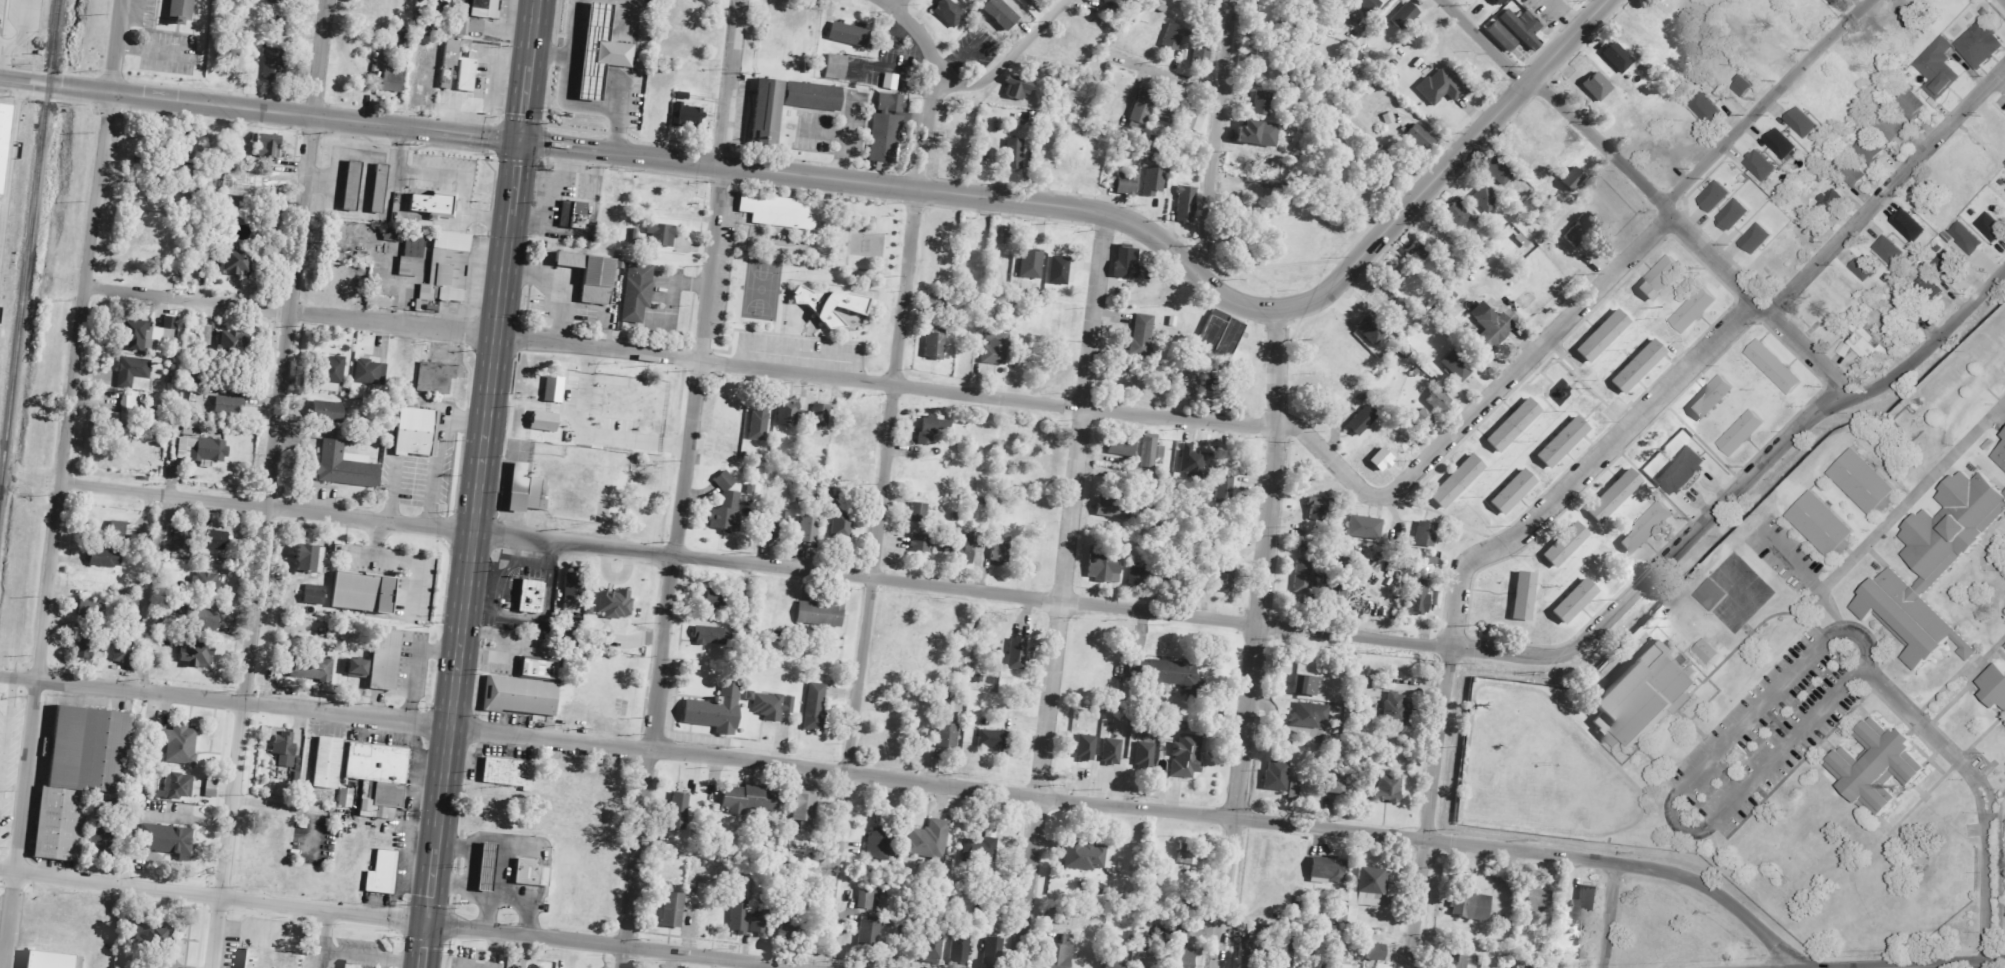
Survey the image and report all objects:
building: (1035, 0)
building: (445, 1)
building: (1501, 1)
building: (280, 2)
building: (1834, 2)
road: (898, 4)
building: (1113, 5)
building: (1370, 5)
building: (487, 8)
building: (181, 10)
building: (950, 14)
building: (1406, 16)
building: (461, 19)
building: (1523, 28)
road: (915, 31)
building: (849, 35)
building: (1173, 36)
building: (1503, 37)
building: (1982, 45)
building: (602, 52)
building: (1618, 57)
road: (1008, 58)
building: (449, 61)
building: (273, 64)
building: (836, 67)
building: (1939, 69)
road: (527, 70)
road: (1165, 75)
building: (393, 79)
building: (487, 79)
building: (890, 81)
road: (730, 83)
building: (1744, 86)
building: (1018, 87)
building: (1439, 88)
building: (809, 96)
building: (1262, 103)
building: (1912, 104)
building: (1143, 106)
building: (1707, 108)
road: (259, 110)
building: (760, 111)
building: (1167, 111)
building: (687, 113)
building: (1389, 118)
building: (1803, 122)
building: (1890, 125)
building: (3, 129)
building: (886, 129)
building: (1260, 134)
building: (1422, 138)
road: (1215, 140)
traffic signals: (519, 141)
building: (1782, 143)
building: (268, 146)
building: (1872, 150)
road: (620, 154)
building: (1015, 154)
building: (1762, 165)
building: (1501, 171)
building: (1853, 173)
road: (10, 176)
building: (1573, 178)
building: (1154, 181)
building: (1127, 184)
building: (352, 185)
building: (380, 188)
road: (1653, 194)
building: (1717, 195)
building: (1485, 198)
building: (434, 204)
building: (1186, 204)
building: (186, 205)
building: (777, 210)
building: (573, 214)
building: (1736, 214)
building: (1458, 215)
building: (1910, 226)
building: (1992, 227)
building: (1582, 230)
building: (394, 234)
building: (661, 235)
railway: (28, 236)
building: (1967, 237)
building: (1759, 238)
road: (1638, 248)
building: (1890, 249)
building: (1418, 253)
road: (1691, 253)
building: (413, 257)
building: (236, 261)
building: (1127, 263)
building: (1031, 265)
road: (1275, 267)
building: (1866, 267)
building: (448, 269)
building: (1059, 271)
building: (593, 276)
building: (1662, 278)
park: (761, 289)
building: (1930, 289)
building: (637, 292)
road: (1215, 293)
building: (379, 302)
building: (823, 303)
building: (933, 303)
building: (1909, 306)
building: (1696, 309)
road: (1738, 315)
building: (1489, 327)
building: (1372, 329)
building: (149, 336)
building: (1142, 336)
building: (1604, 336)
building: (1219, 340)
building: (232, 342)
building: (935, 345)
building: (1869, 346)
road: (1707, 348)
building: (995, 349)
building: (1845, 349)
building: (1457, 366)
building: (1639, 366)
road: (754, 367)
building: (1777, 367)
building: (370, 373)
building: (134, 374)
building: (333, 374)
building: (435, 378)
building: (1188, 385)
building: (1211, 387)
building: (553, 389)
building: (1714, 398)
building: (1439, 401)
building: (229, 406)
building: (124, 411)
building: (329, 412)
building: (791, 412)
building: (820, 416)
building: (1423, 419)
building: (150, 420)
building: (1363, 420)
building: (544, 422)
building: (759, 425)
building: (1514, 425)
building: (729, 426)
building: (191, 428)
building: (933, 428)
building: (417, 432)
building: (1744, 433)
building: (2004, 434)
road: (1775, 435)
road: (1701, 440)
building: (1563, 442)
building: (1122, 448)
building: (202, 450)
building: (1151, 451)
building: (1999, 455)
building: (1383, 460)
building: (1192, 462)
building: (346, 466)
building: (1684, 471)
building: (1458, 482)
building: (1866, 482)
road: (58, 483)
road: (268, 483)
road: (1655, 486)
building: (526, 490)
building: (1226, 490)
building: (1514, 492)
road: (1912, 495)
building: (1615, 496)
building: (1113, 507)
building: (727, 508)
building: (919, 509)
building: (1318, 509)
road: (1444, 517)
road: (878, 518)
building: (778, 525)
building: (841, 525)
building: (1824, 525)
building: (1366, 528)
building: (1648, 528)
building: (118, 529)
building: (809, 530)
building: (1427, 534)
building: (182, 538)
building: (213, 540)
building: (921, 543)
building: (1566, 545)
building: (1001, 547)
building: (966, 549)
road: (469, 554)
building: (105, 558)
building: (311, 559)
building: (1930, 565)
building: (1103, 566)
road: (671, 567)
road: (1809, 576)
building: (1138, 577)
building: (1223, 577)
building: (1302, 577)
building: (206, 583)
building: (573, 591)
road: (1062, 592)
building: (364, 593)
building: (1713, 594)
building: (314, 595)
building: (531, 595)
building: (1525, 596)
building: (1417, 599)
building: (712, 600)
building: (1576, 601)
building: (133, 604)
building: (616, 604)
building: (92, 606)
road: (1106, 606)
building: (820, 614)
building: (205, 618)
building: (742, 628)
building: (1686, 628)
building: (712, 636)
road: (1256, 639)
building: (602, 640)
building: (84, 647)
building: (122, 650)
building: (1709, 651)
road: (1990, 651)
building: (1017, 654)
building: (195, 655)
building: (386, 660)
road: (1975, 666)
building: (312, 668)
building: (358, 668)
building: (1177, 674)
building: (1996, 685)
building: (1306, 686)
building: (518, 695)
building: (1645, 697)
building: (771, 706)
building: (815, 708)
building: (1396, 708)
building: (714, 710)
building: (1309, 716)
road: (1919, 721)
parking lot: (1766, 733)
building: (948, 737)
building: (995, 740)
building: (178, 744)
road: (1466, 744)
building: (286, 748)
building: (1086, 749)
building: (1112, 752)
building: (1145, 755)
building: (1186, 757)
building: (328, 763)
building: (1882, 766)
building: (77, 773)
building: (508, 773)
building: (1277, 776)
building: (379, 777)
road: (917, 781)
building: (177, 787)
building: (1334, 788)
building: (1388, 788)
building: (1294, 790)
road: (1675, 792)
road: (1988, 794)
road: (1979, 797)
building: (346, 798)
building: (751, 800)
road: (1430, 807)
building: (805, 810)
building: (679, 812)
building: (102, 834)
building: (167, 840)
building: (929, 840)
building: (880, 845)
building: (981, 850)
building: (1190, 856)
building: (1085, 857)
building: (485, 866)
building: (380, 871)
building: (530, 871)
building: (1328, 871)
road: (1986, 887)
building: (1364, 894)
parking lot: (1, 898)
road: (213, 898)
building: (865, 899)
building: (1540, 900)
building: (1587, 901)
building: (1471, 907)
building: (673, 911)
road: (1610, 916)
building: (739, 918)
building: (759, 918)
traffic signals: (427, 926)
building: (790, 926)
building: (869, 933)
building: (1181, 935)
building: (153, 937)
building: (1160, 938)
road: (324, 940)
road: (612, 945)
building: (932, 948)
building: (960, 951)
building: (994, 952)
building: (1062, 953)
building: (1376, 953)
building: (1287, 954)
road: (373, 957)
building: (51, 958)
building: (1180, 958)
building: (268, 959)
building: (1115, 960)
building: (1458, 961)
building: (1249, 962)
building: (1145, 963)
building: (359, 964)
road: (1917, 964)
building: (1316, 966)

